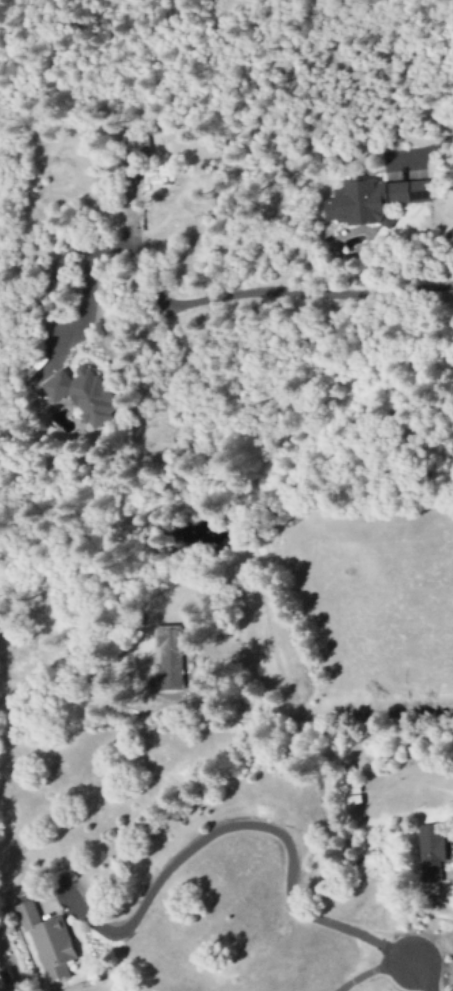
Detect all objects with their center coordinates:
building: (370, 201)
building: (82, 395)
building: (168, 659)
building: (140, 693)
road: (276, 832)
building: (429, 853)
building: (47, 942)
road: (422, 974)

